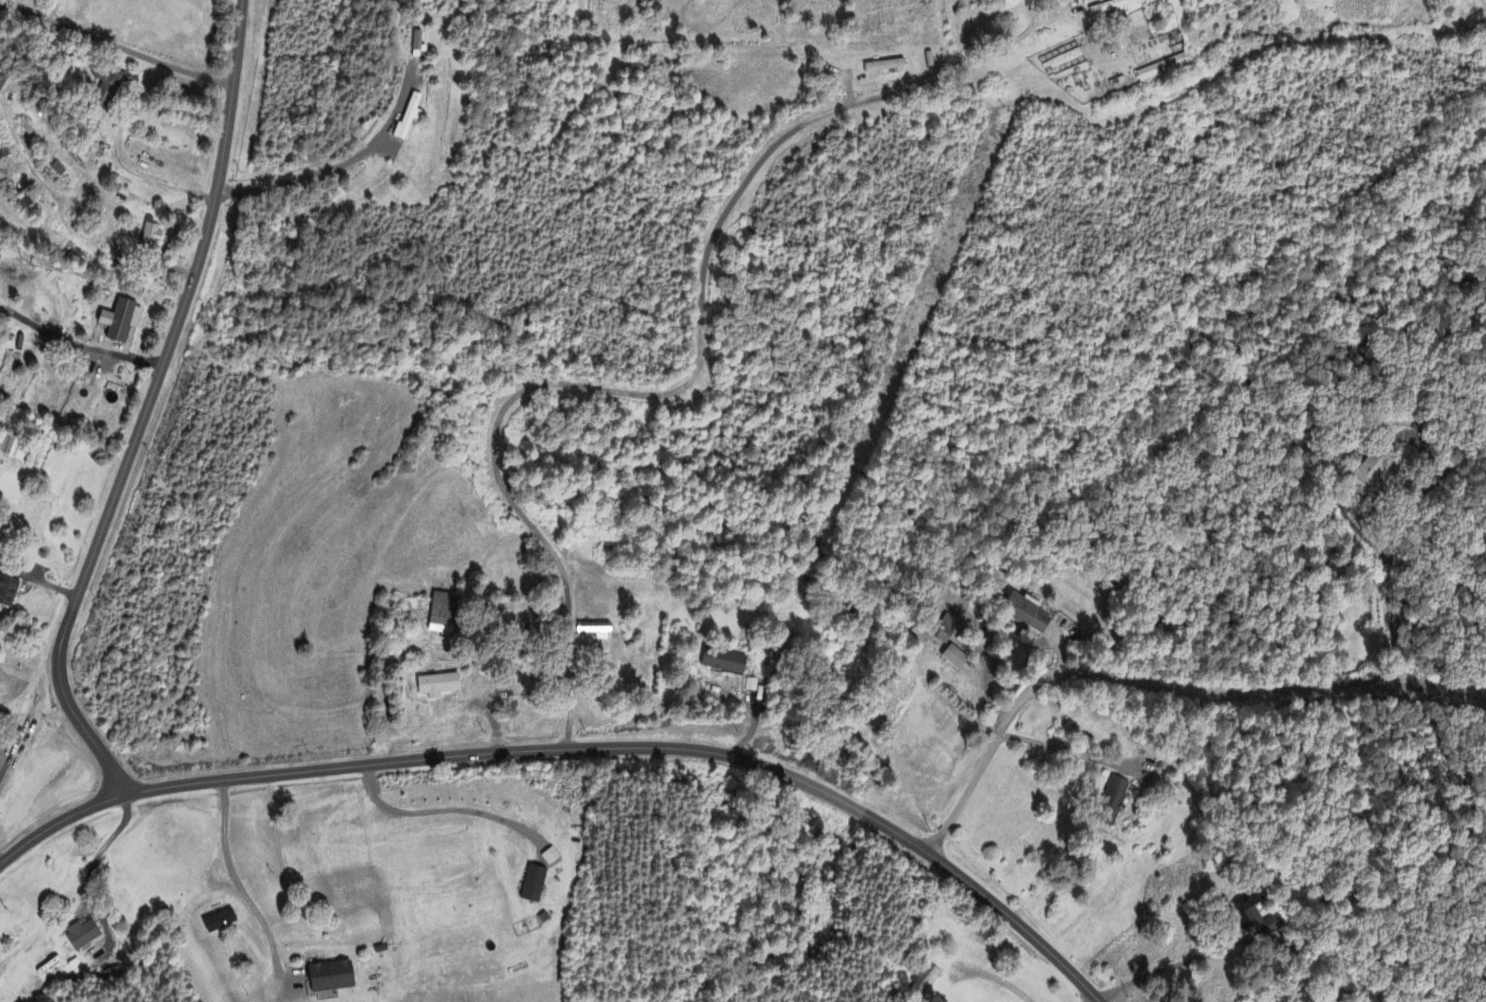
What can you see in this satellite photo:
building: (1112, 7)
road: (117, 43)
building: (886, 66)
building: (1162, 69)
building: (110, 88)
building: (410, 116)
building: (58, 170)
road: (331, 173)
building: (152, 234)
building: (122, 321)
road: (77, 347)
road: (654, 395)
road: (146, 405)
building: (12, 448)
road: (1422, 448)
building: (1370, 471)
building: (8, 592)
building: (443, 615)
building: (946, 630)
building: (596, 631)
road: (1007, 654)
building: (955, 659)
building: (724, 662)
building: (439, 686)
road: (1244, 688)
road: (578, 750)
road: (2, 770)
building: (1116, 796)
road: (441, 814)
road: (105, 849)
building: (551, 858)
road: (235, 879)
building: (534, 885)
building: (1255, 918)
building: (220, 922)
building: (82, 935)
road: (1173, 967)
building: (925, 978)
building: (114, 979)
road: (998, 980)
building: (331, 981)
road: (1087, 998)

